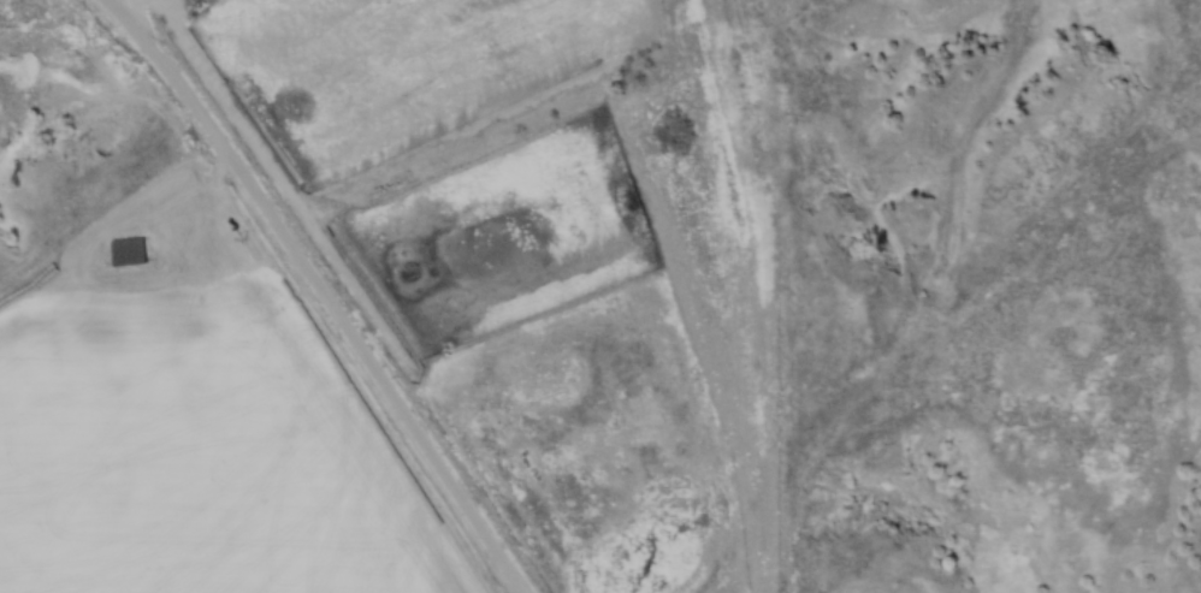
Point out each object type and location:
road: (140, 12)
building: (128, 253)
road: (323, 292)

